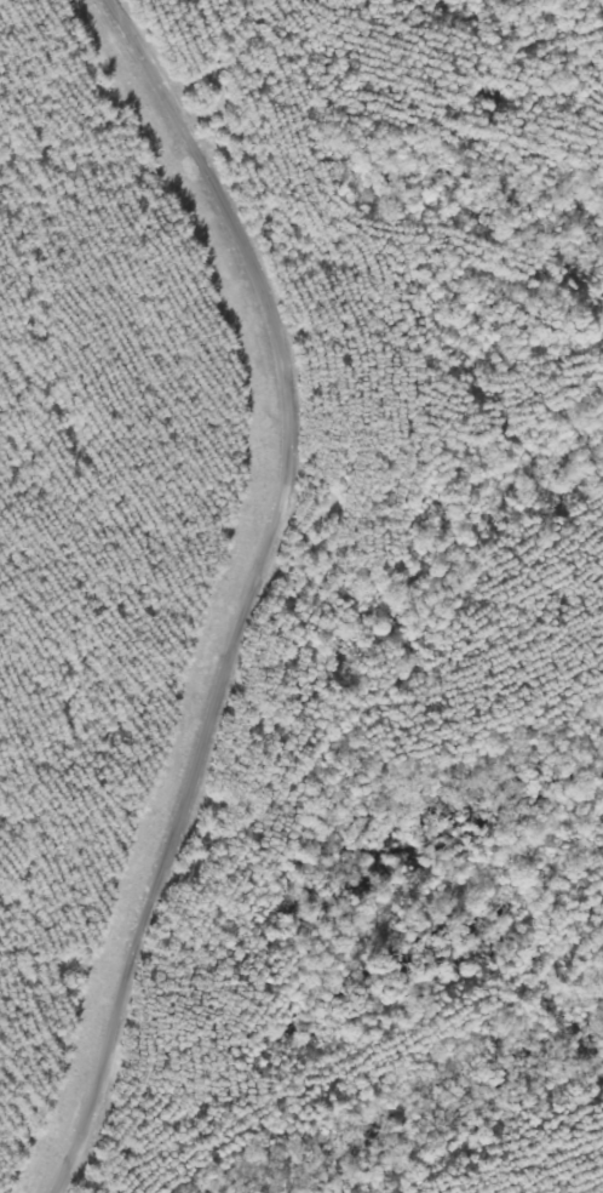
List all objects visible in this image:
road: (155, 533)

